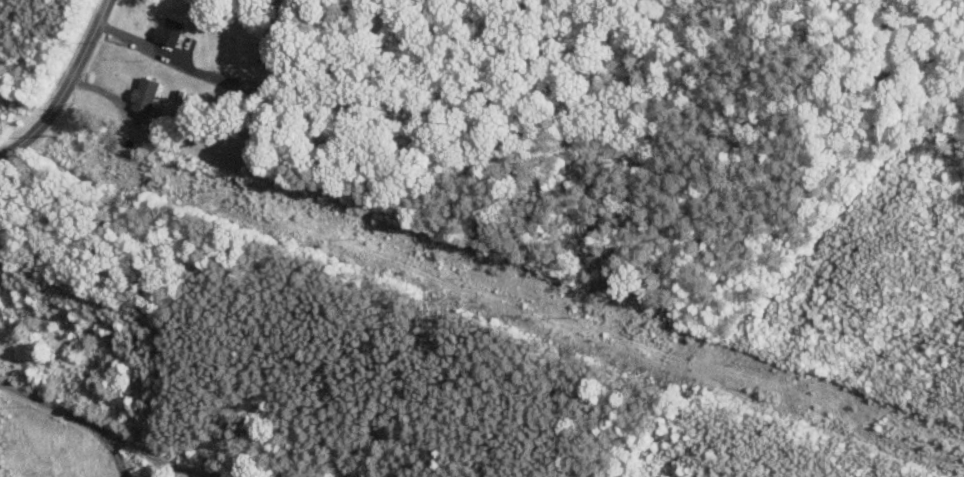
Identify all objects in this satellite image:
road: (63, 86)
power tower: (352, 237)
road: (147, 442)
road: (114, 443)

